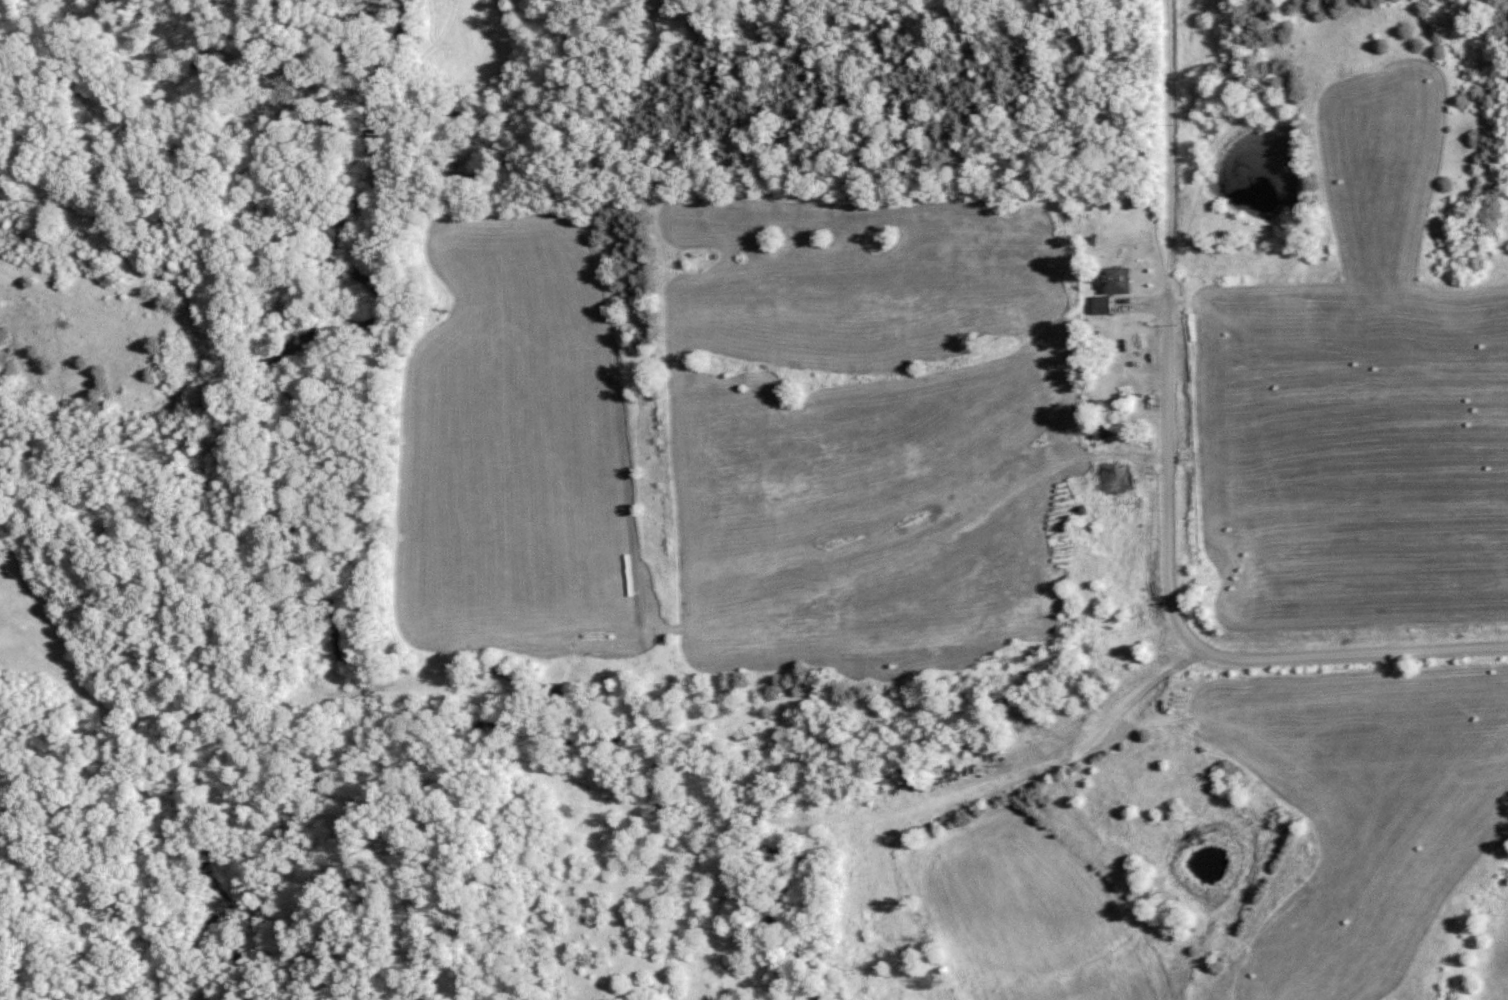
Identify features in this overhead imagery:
building: (1115, 279)
building: (1101, 305)
road: (1169, 341)
road: (1366, 653)

